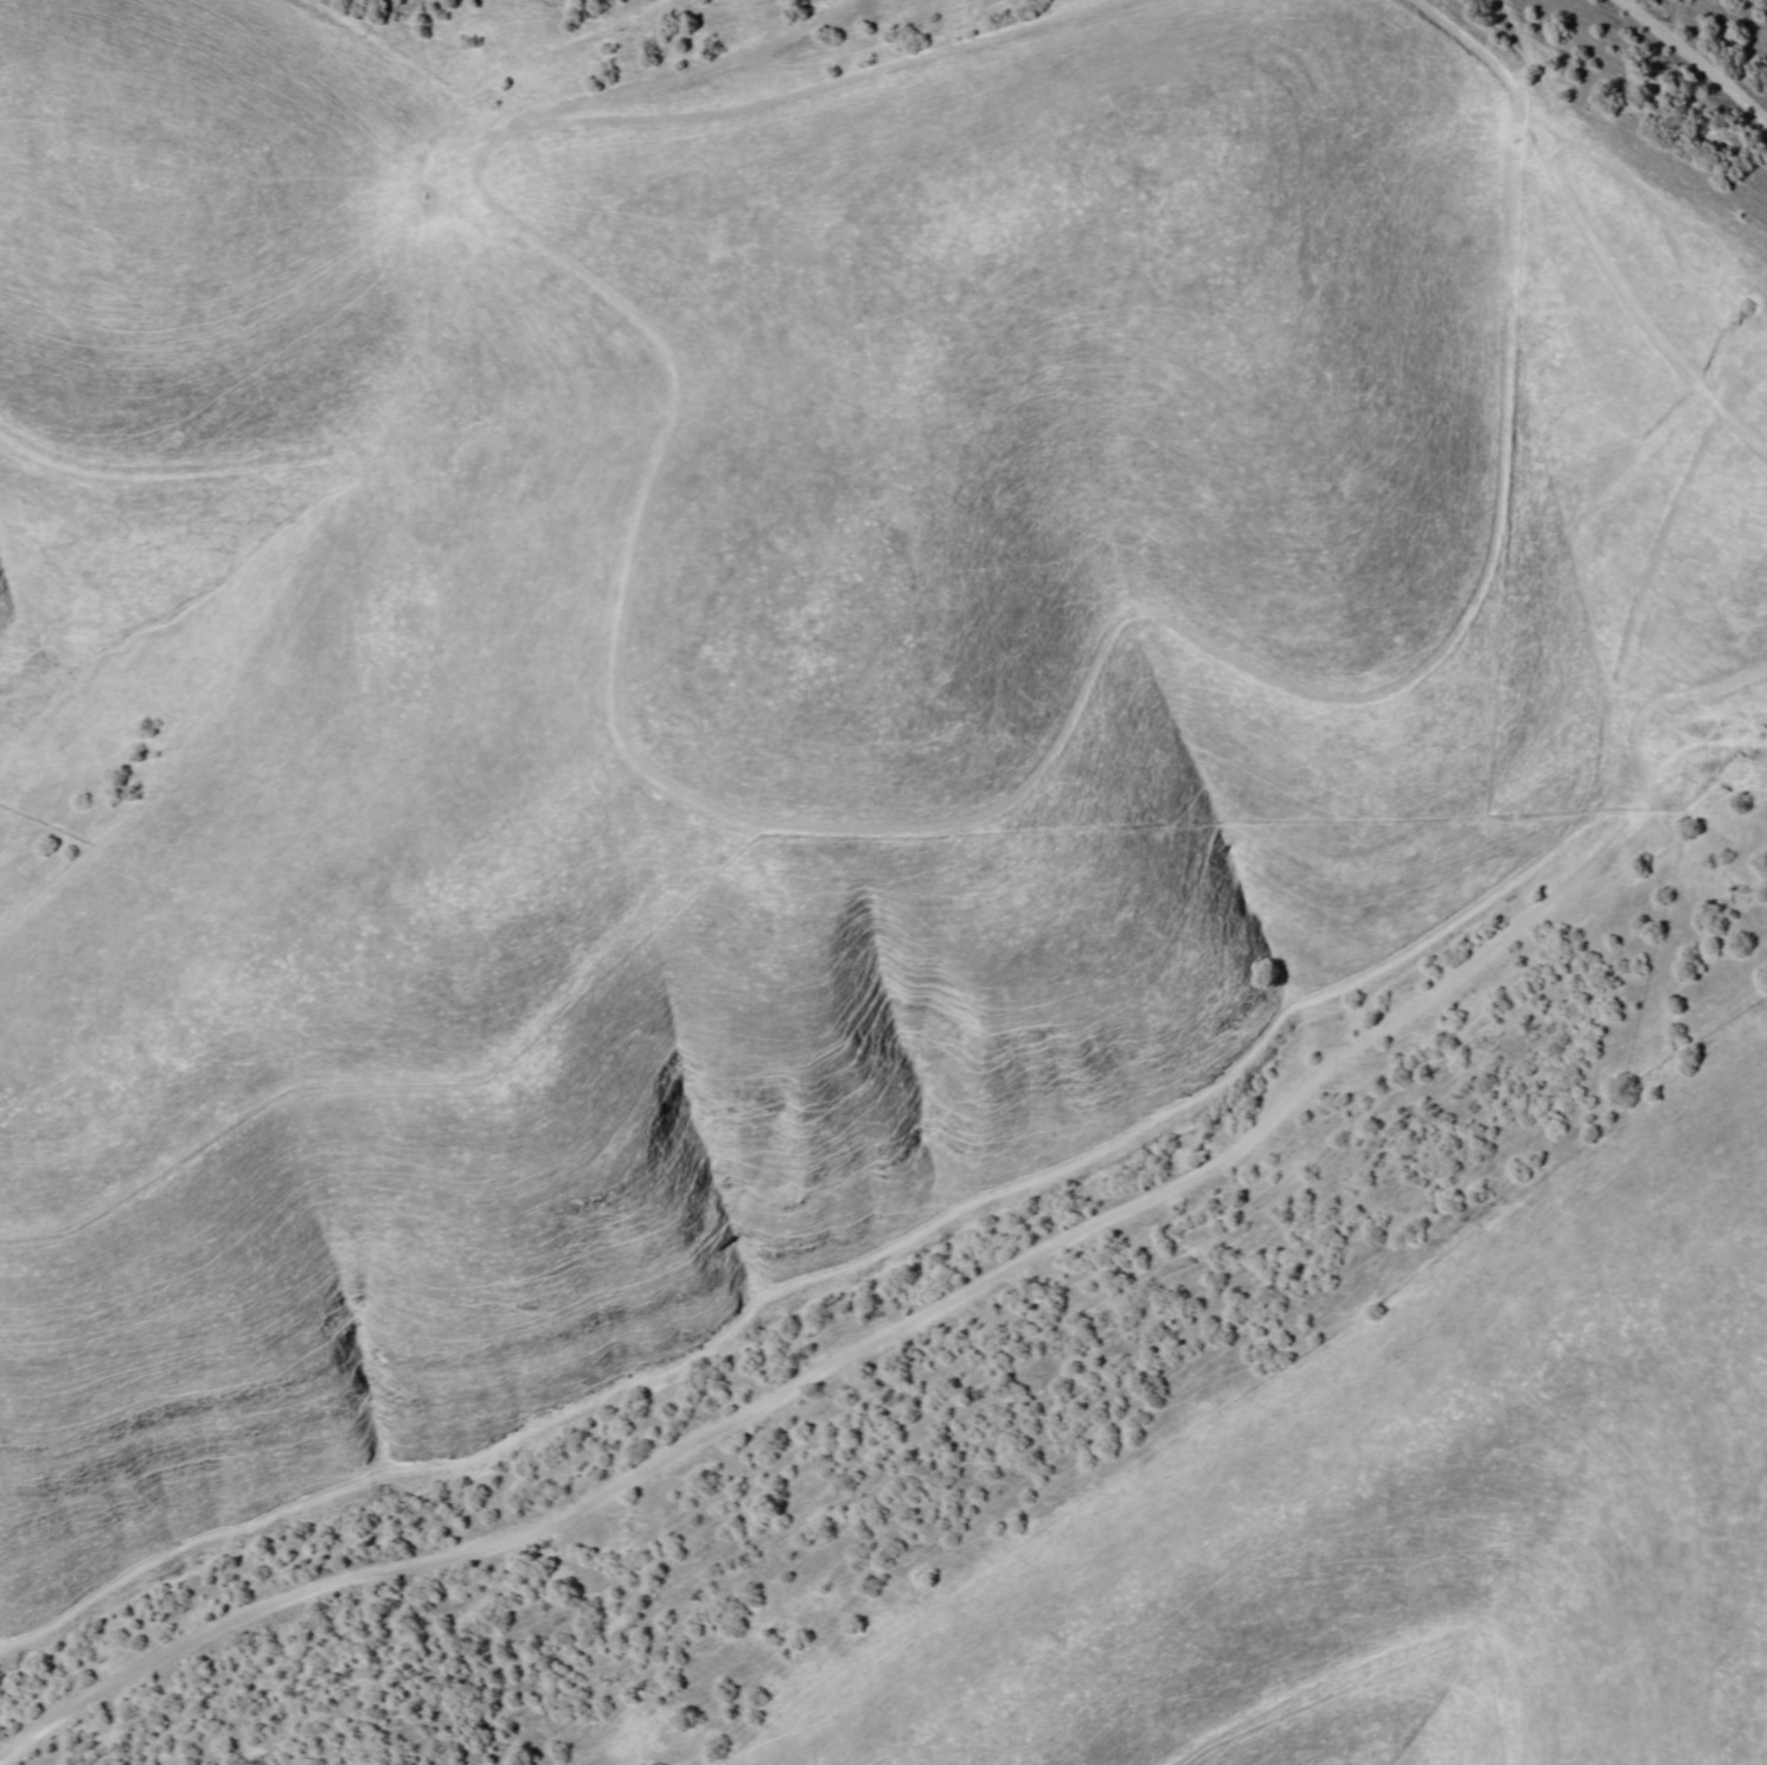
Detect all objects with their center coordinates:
road: (1325, 6)
road: (1699, 57)
road: (583, 105)
road: (961, 1284)

